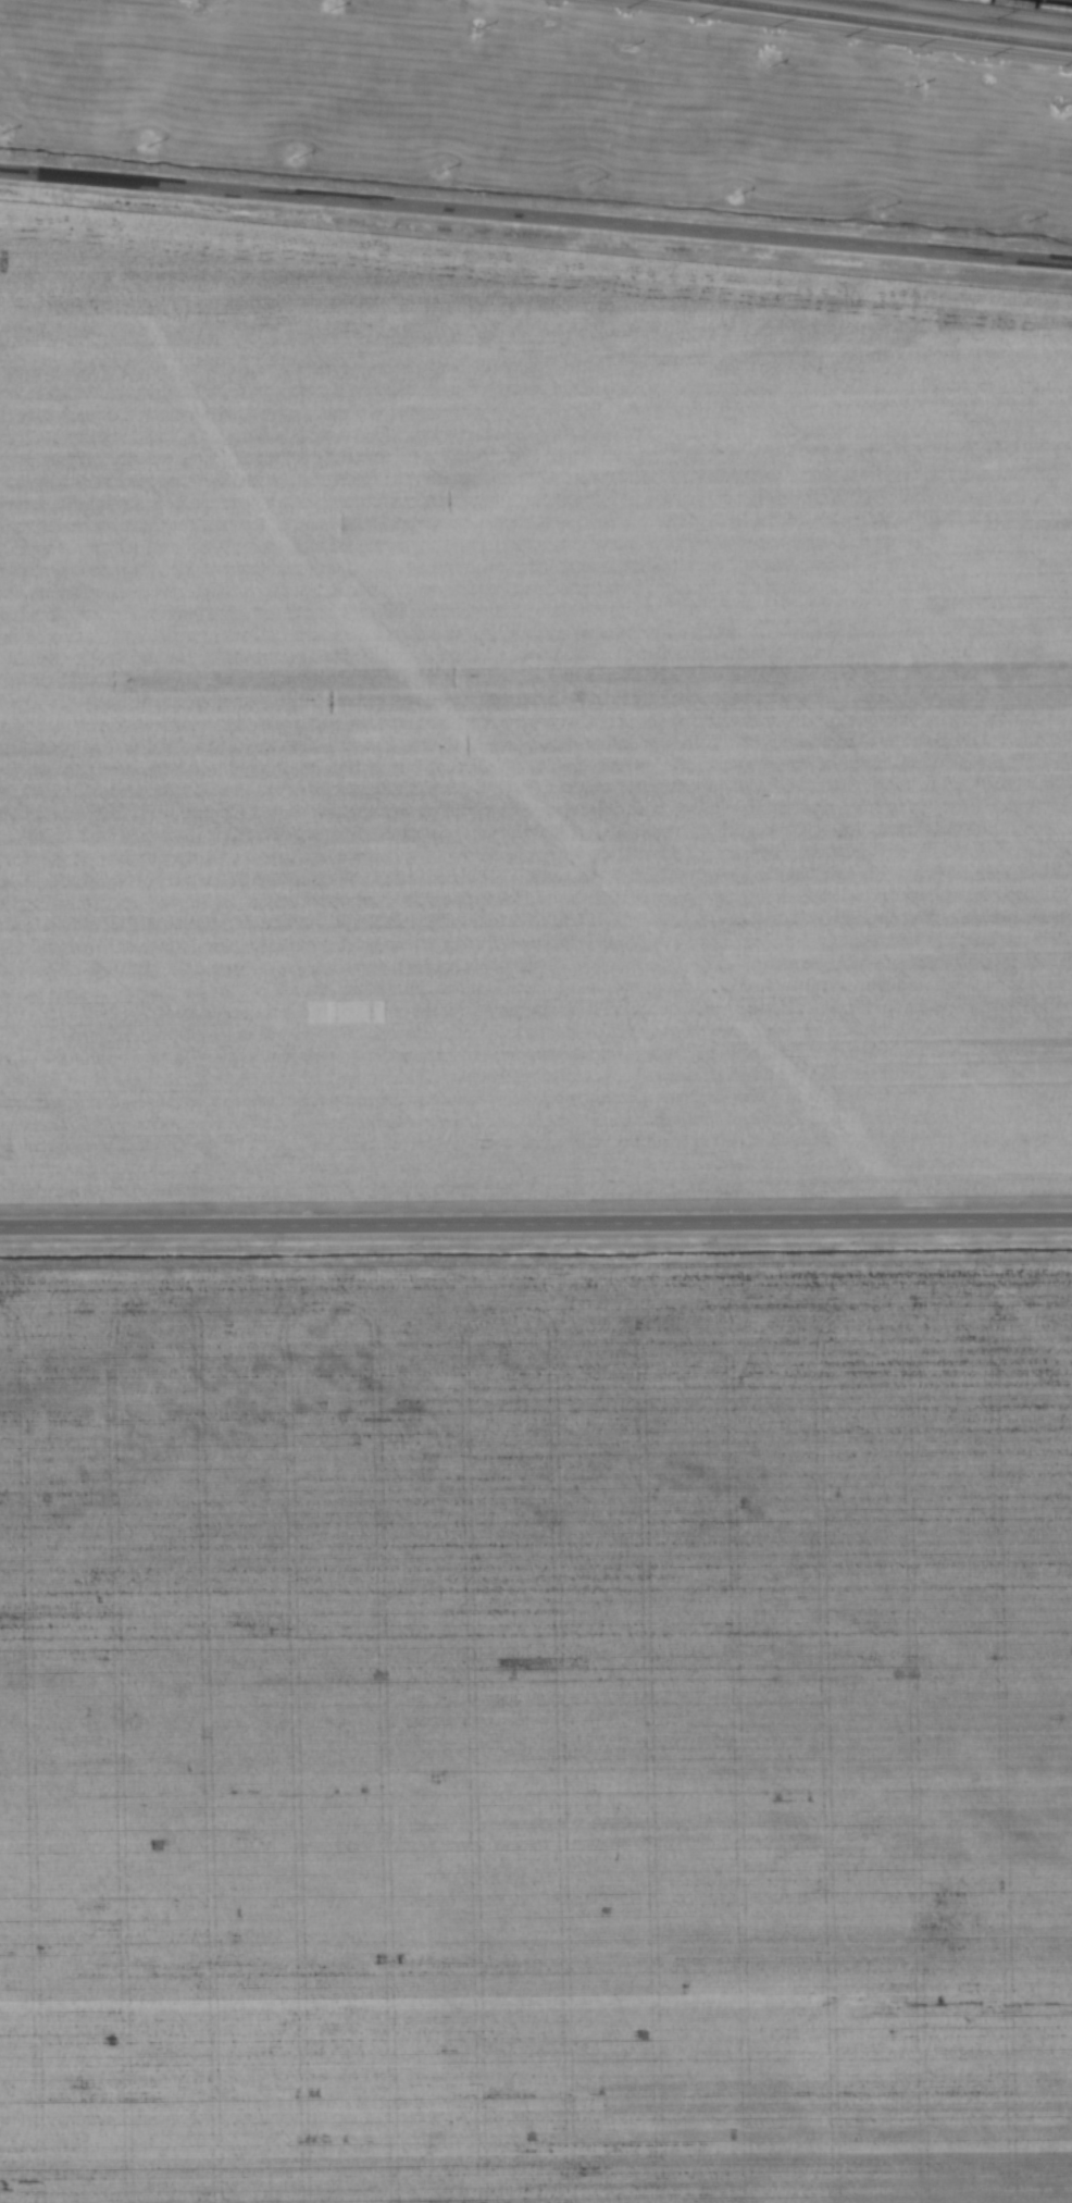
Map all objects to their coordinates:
railway: (1039, 3)
railway: (893, 23)
road: (843, 29)
road: (535, 220)
road: (536, 1222)
crop: (536, 1720)

